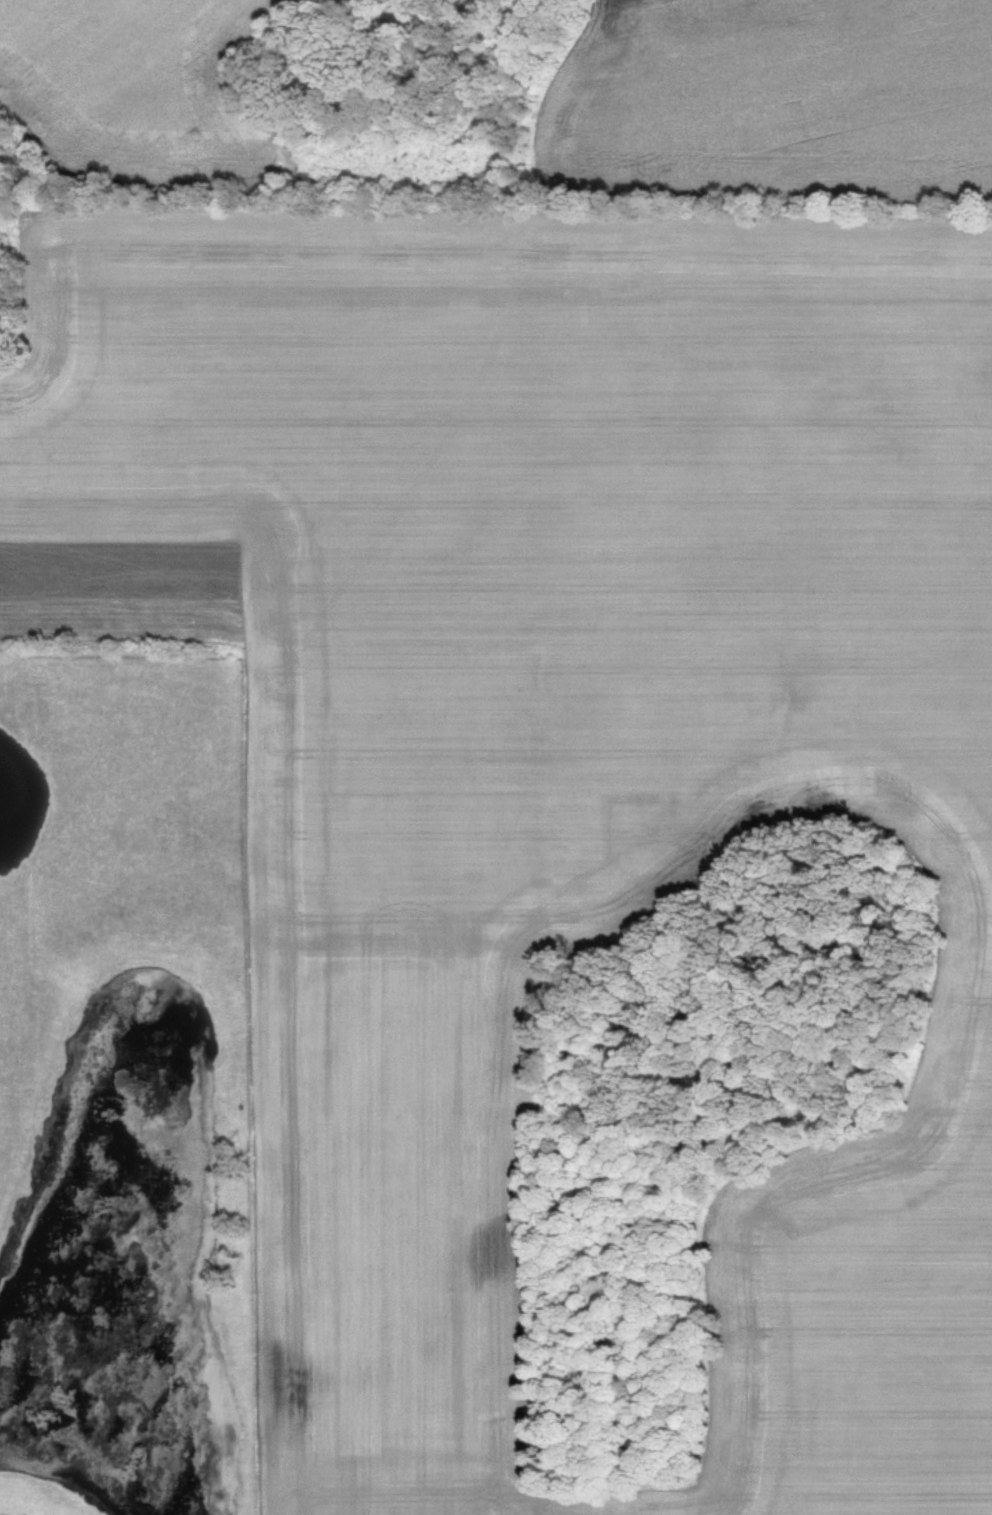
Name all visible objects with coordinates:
crop: (139, 84)
crop: (776, 101)
crop: (607, 643)
crop: (405, 1076)

